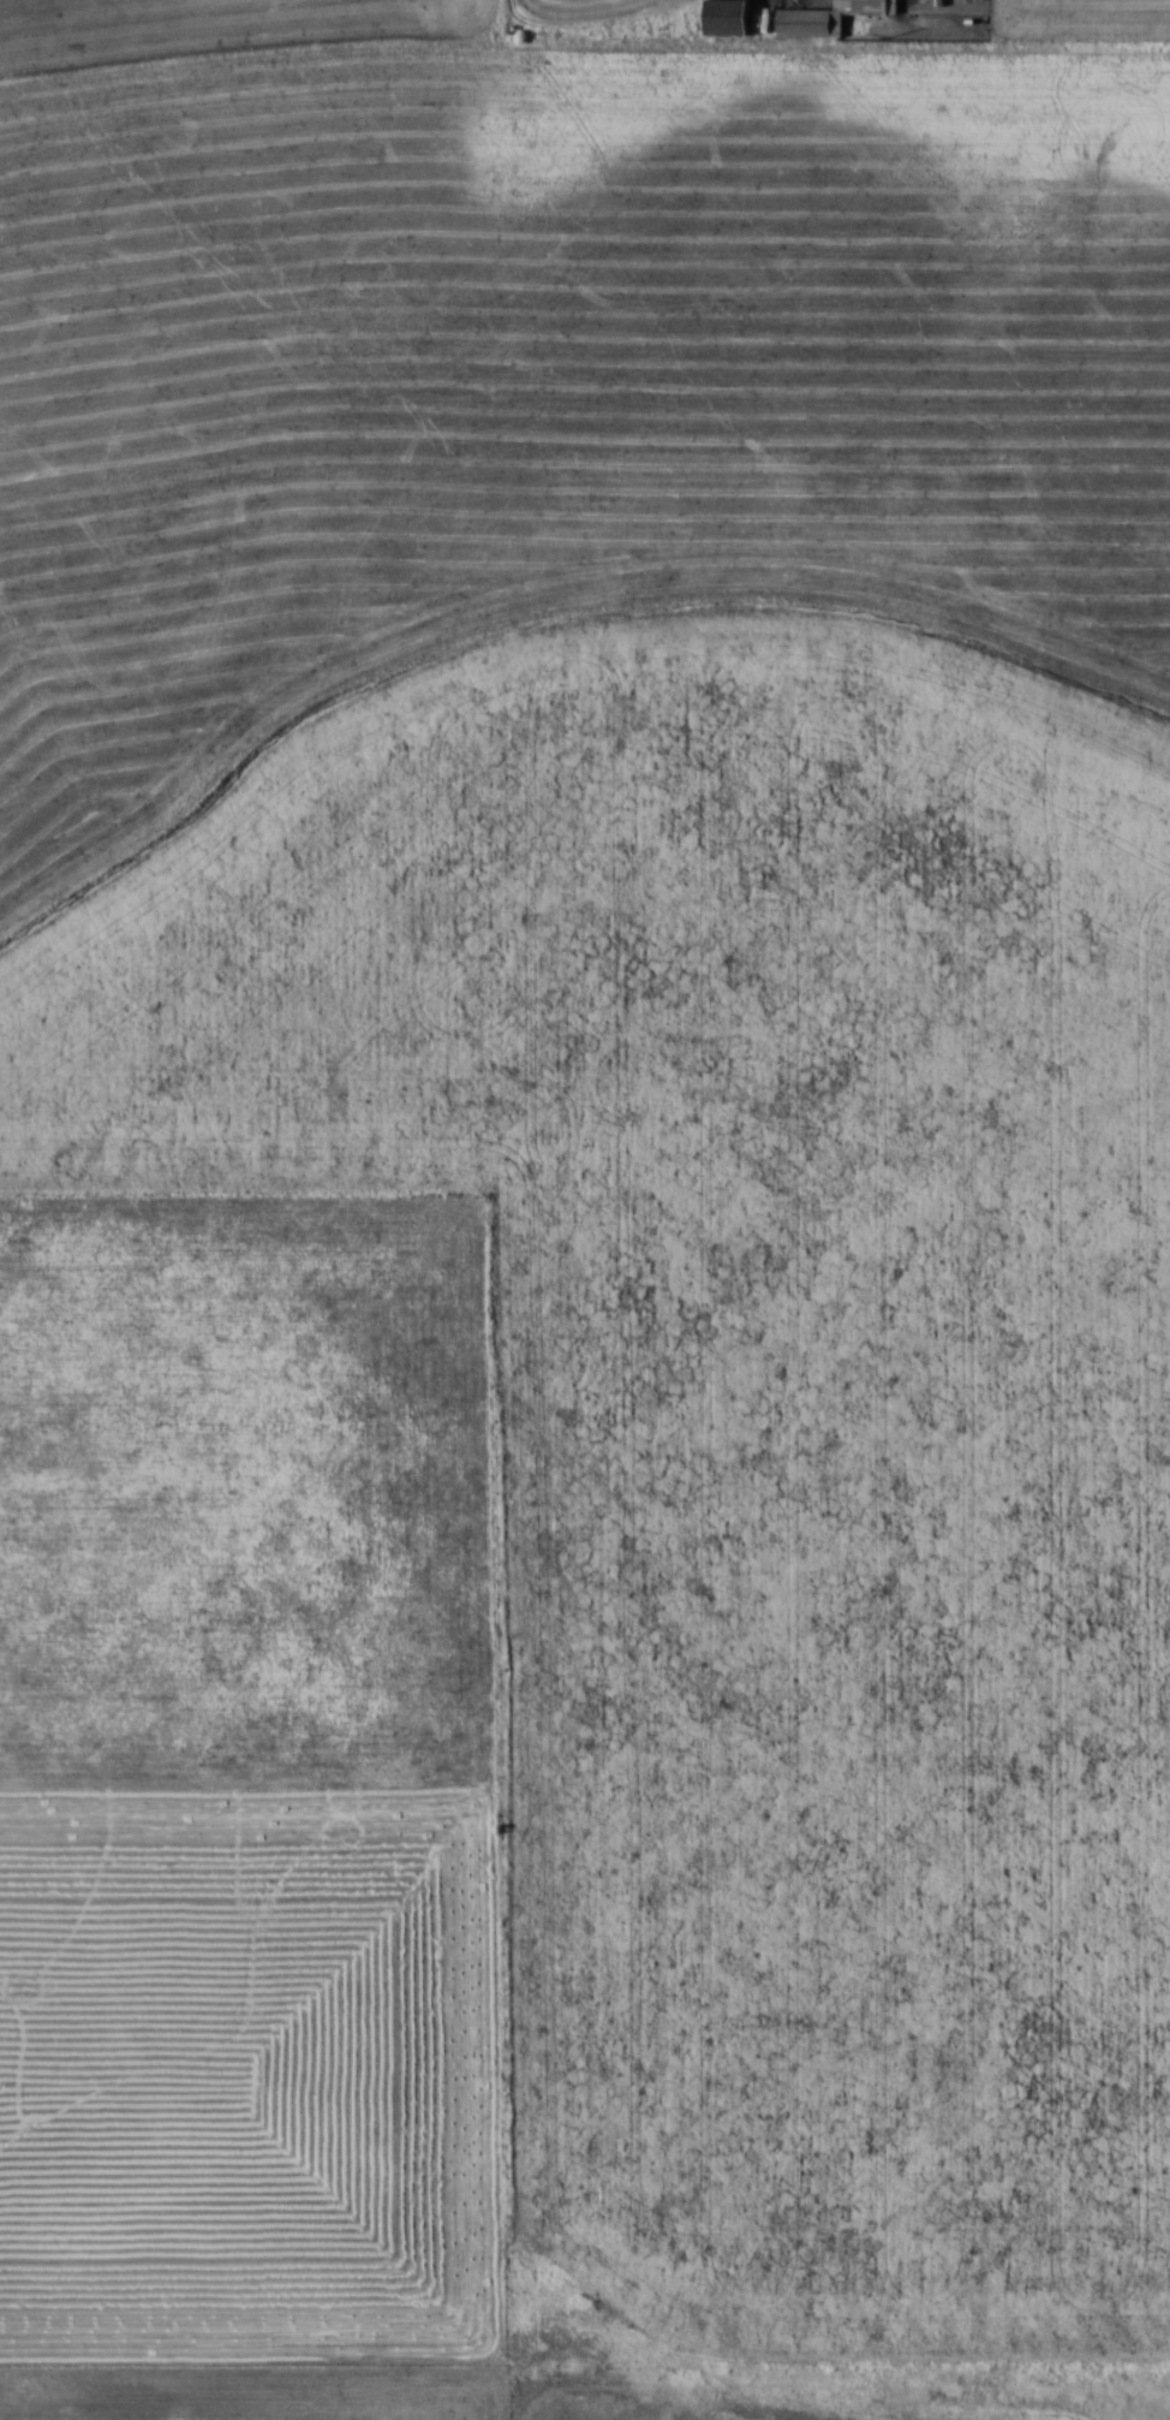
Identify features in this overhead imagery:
building: (829, 17)

